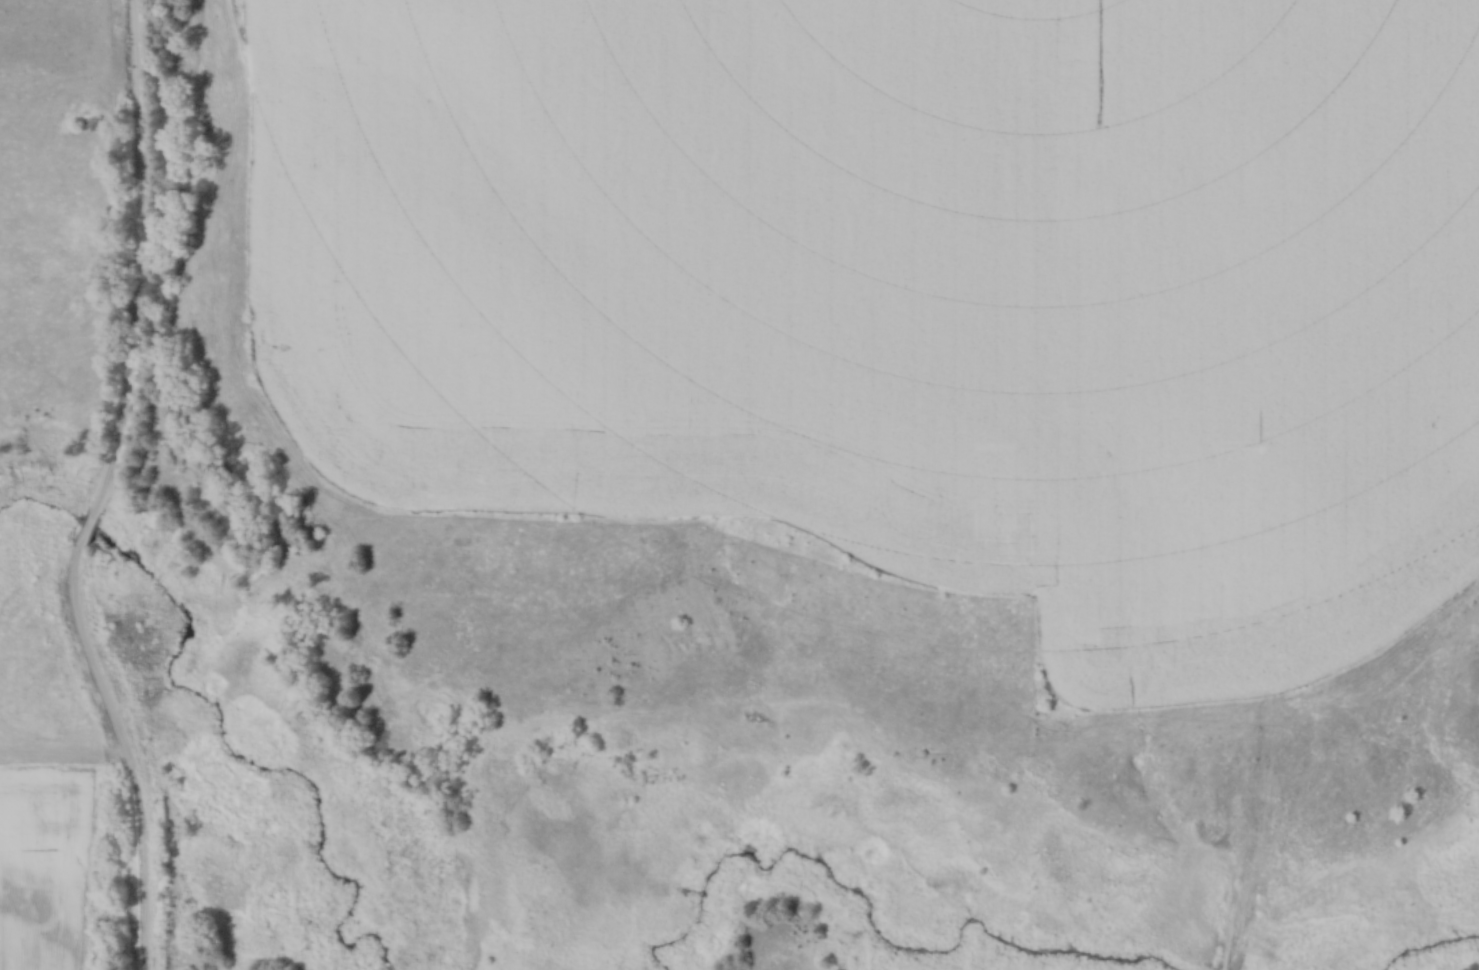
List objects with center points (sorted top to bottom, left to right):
road: (138, 239)
road: (94, 511)
road: (127, 753)

